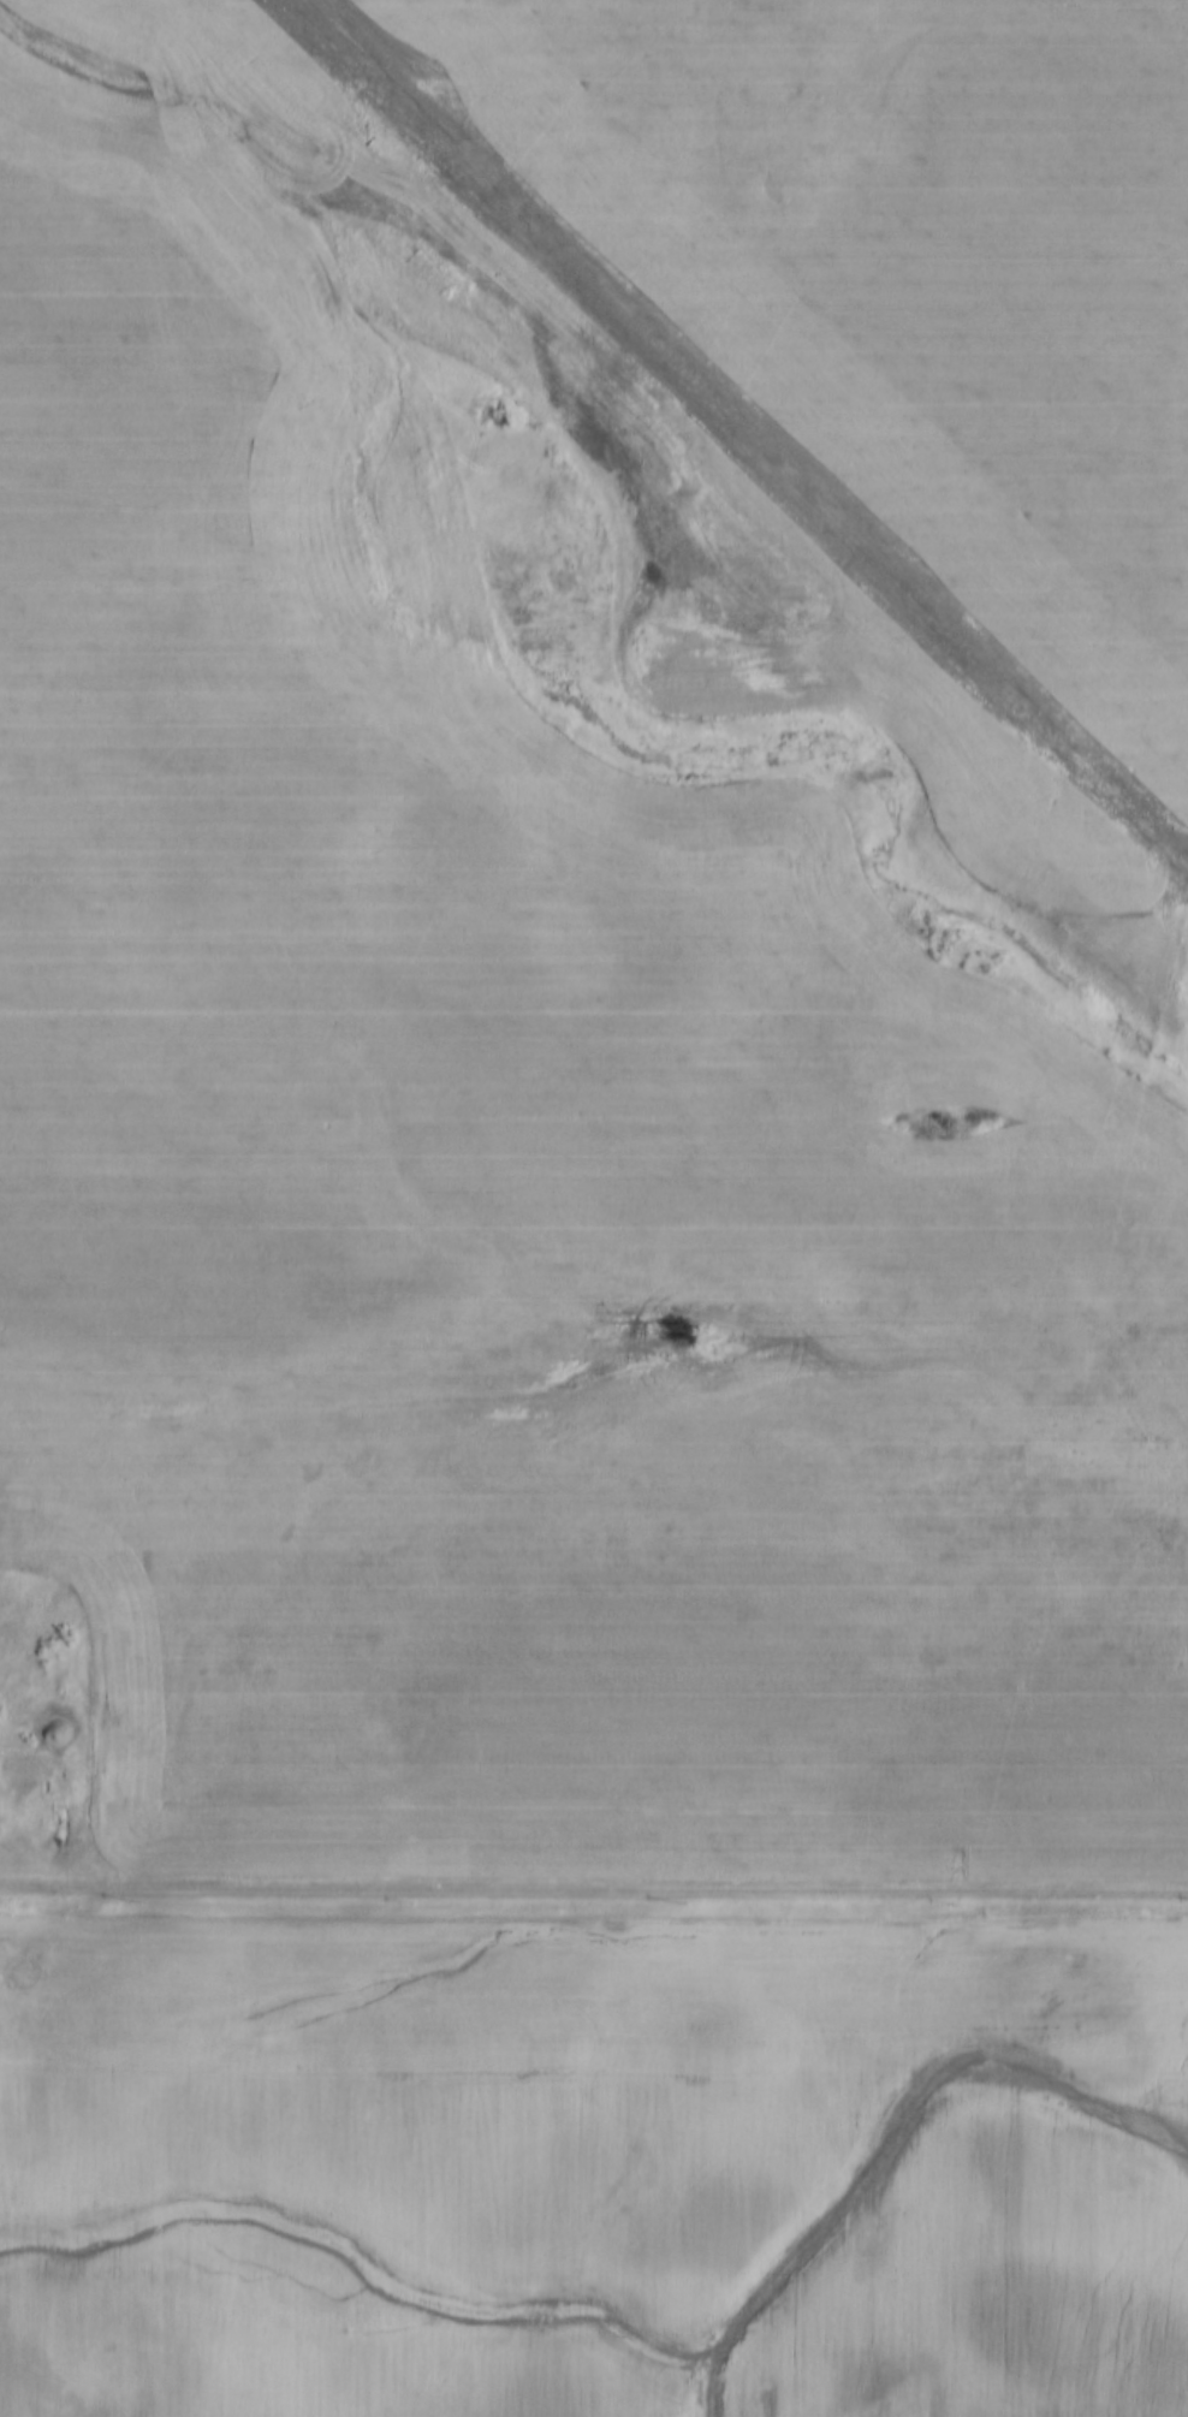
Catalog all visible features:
road: (593, 1893)

